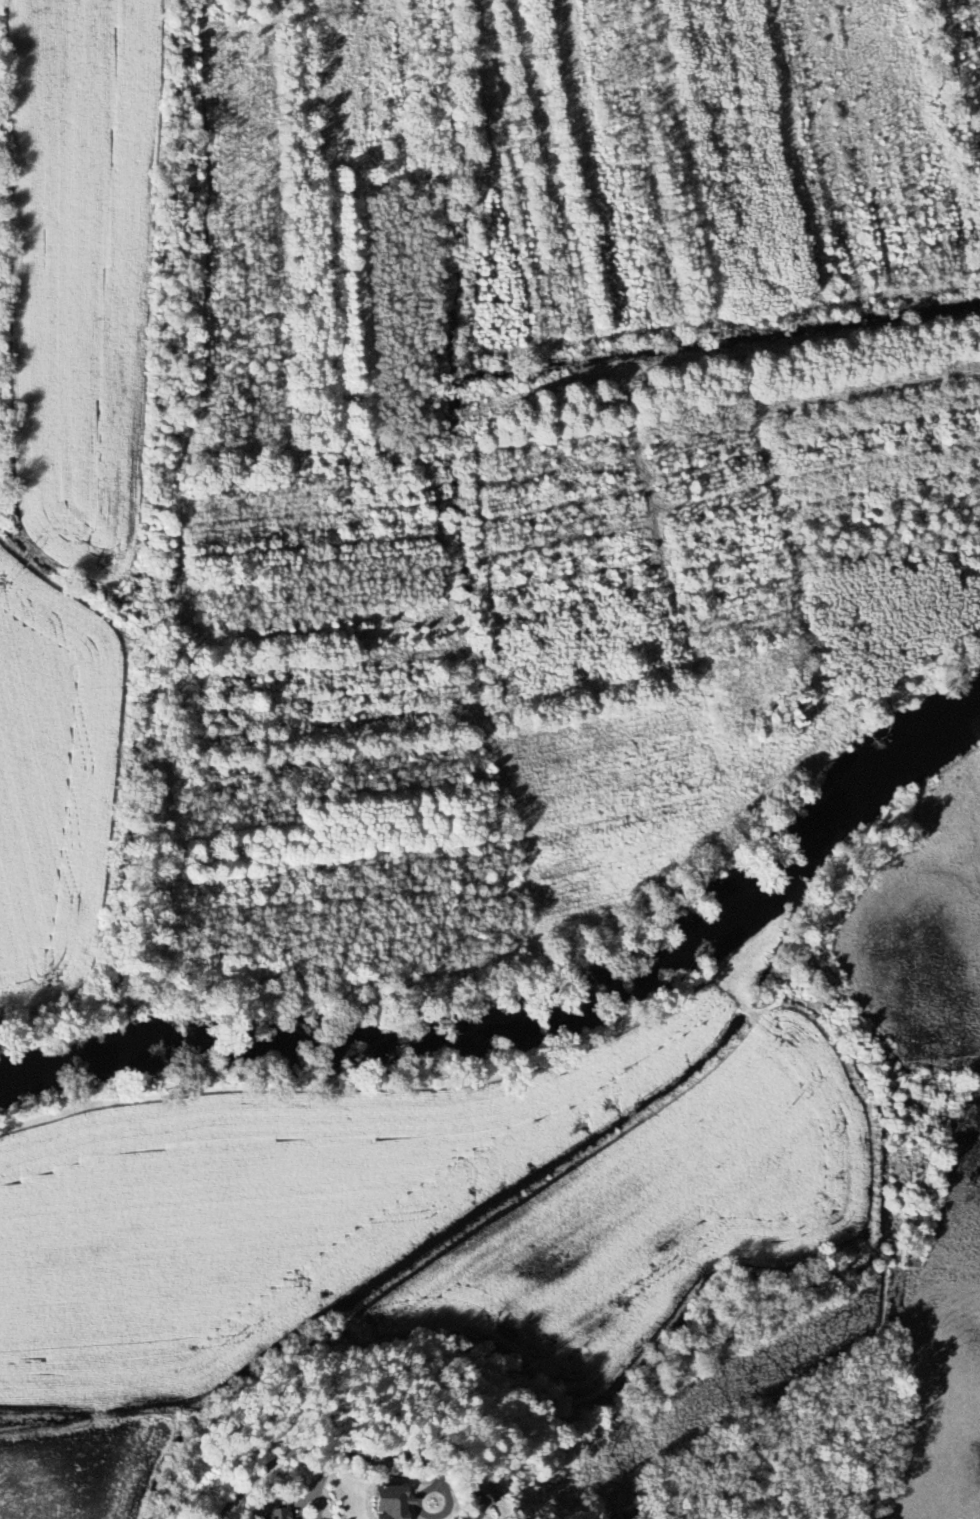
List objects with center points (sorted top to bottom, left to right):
river: (608, 999)
river: (66, 1064)
road: (267, 1466)
road: (434, 1469)
road: (310, 1487)
building: (394, 1503)
building: (278, 1513)

